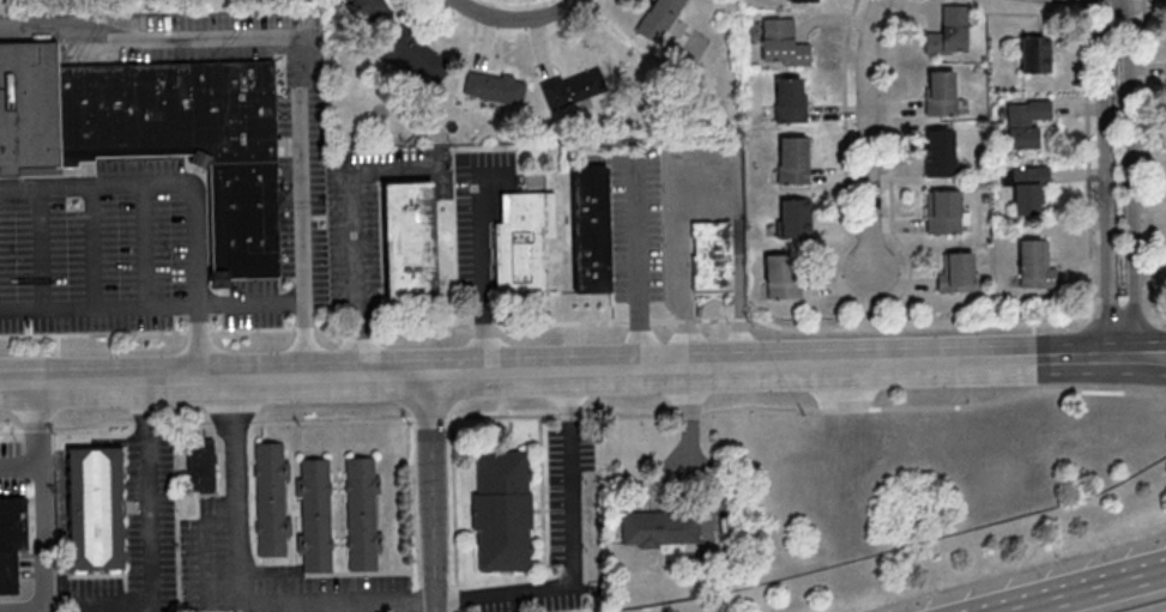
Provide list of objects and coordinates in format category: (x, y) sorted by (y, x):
building: (660, 17)
road: (514, 18)
building: (949, 31)
building: (783, 43)
building: (1035, 53)
building: (413, 55)
building: (485, 86)
building: (569, 91)
building: (941, 92)
building: (790, 99)
road: (298, 115)
building: (1026, 122)
road: (869, 132)
building: (156, 138)
building: (941, 152)
building: (793, 159)
road: (354, 171)
road: (1106, 177)
road: (1131, 177)
road: (158, 181)
building: (1026, 187)
road: (711, 205)
building: (943, 211)
building: (796, 217)
building: (591, 234)
building: (524, 238)
building: (410, 240)
road: (145, 243)
road: (92, 246)
road: (42, 247)
parking lot: (105, 253)
building: (712, 259)
road: (638, 260)
road: (482, 261)
building: (1035, 262)
building: (956, 272)
building: (784, 275)
road: (152, 304)
road: (582, 321)
road: (199, 340)
road: (1155, 351)
road: (1155, 363)
road: (572, 370)
road: (582, 414)
road: (19, 463)
building: (201, 463)
road: (433, 492)
building: (271, 497)
building: (95, 507)
building: (503, 509)
road: (40, 510)
building: (362, 511)
building: (315, 514)
building: (660, 527)
road: (147, 528)
building: (11, 538)
road: (573, 544)
road: (240, 568)
road: (1089, 592)
road: (338, 601)

